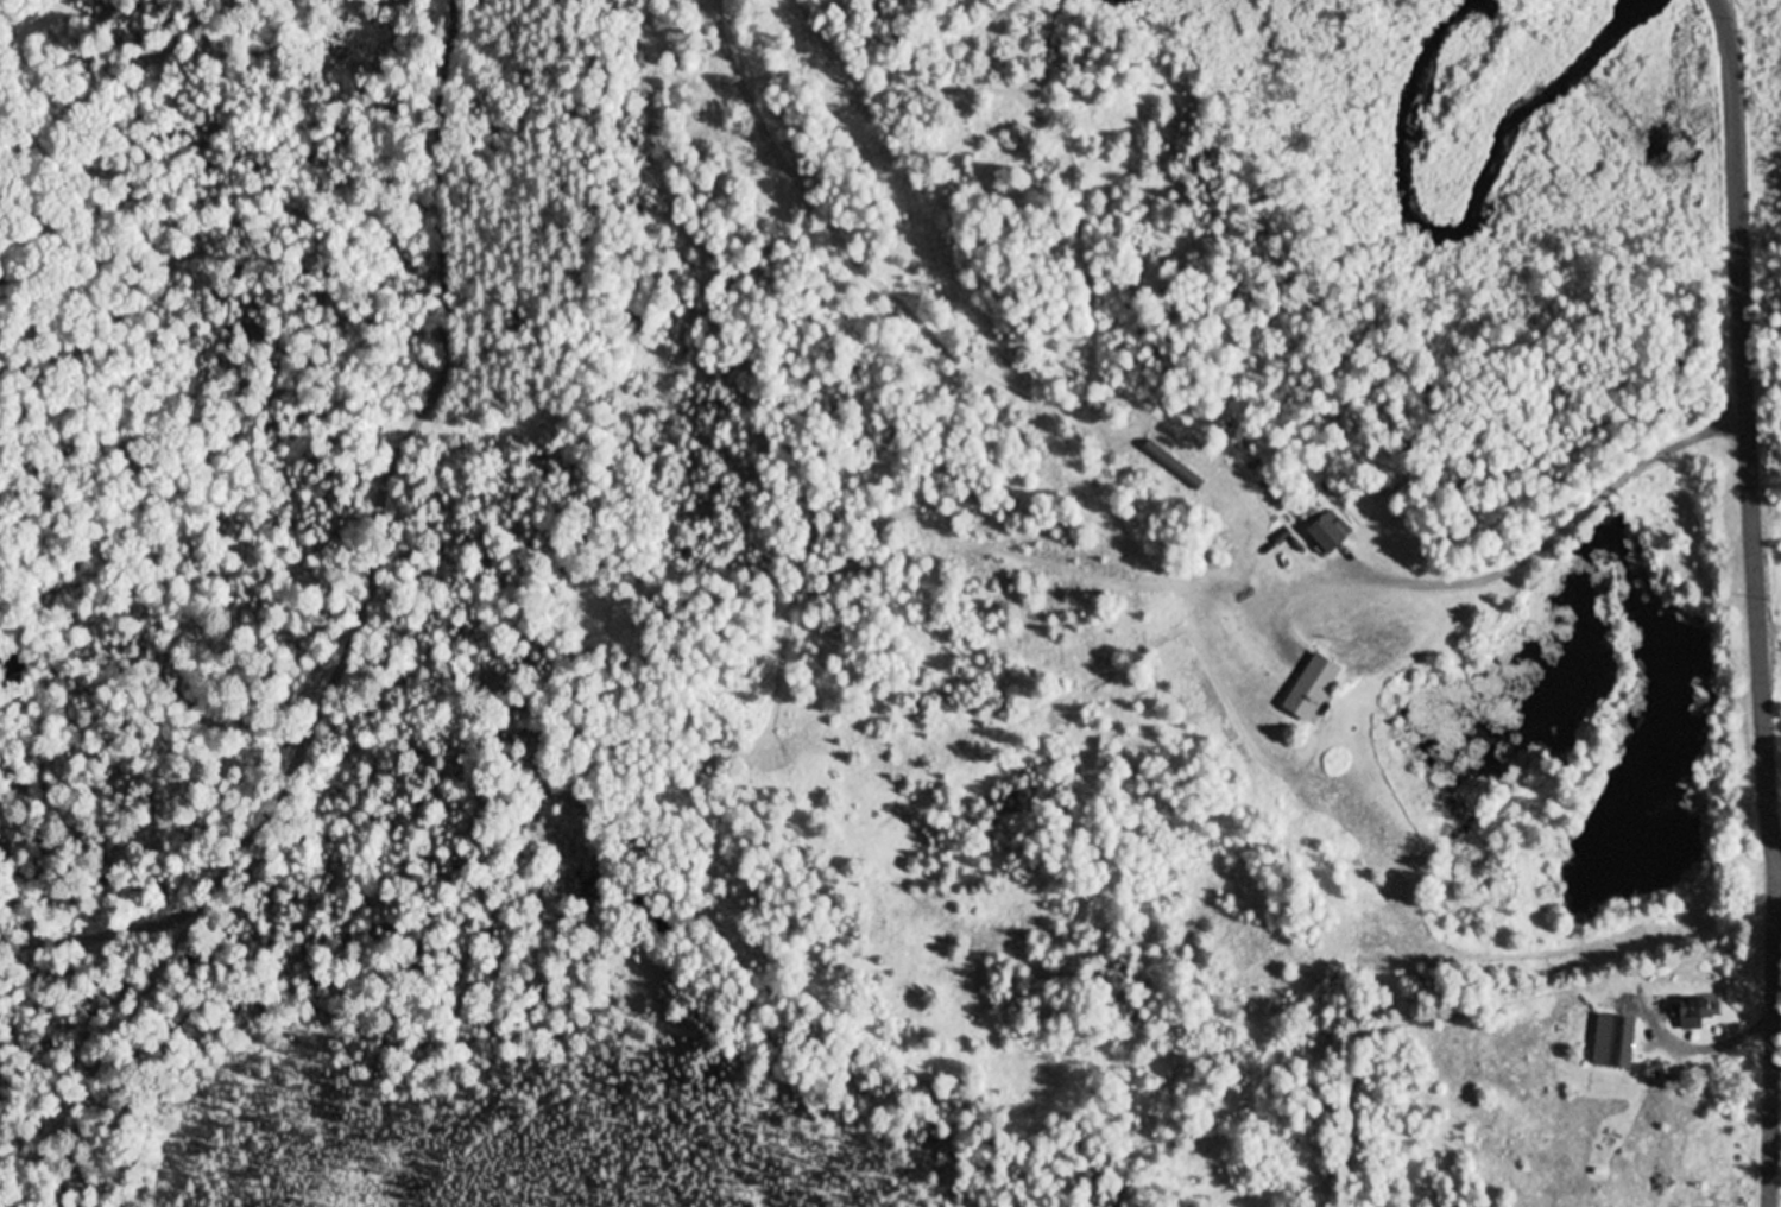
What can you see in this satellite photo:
road: (1745, 430)
building: (1331, 532)
road: (377, 557)
road: (1088, 565)
building: (1316, 687)
building: (1697, 1015)
building: (1616, 1042)
road: (1773, 1042)

